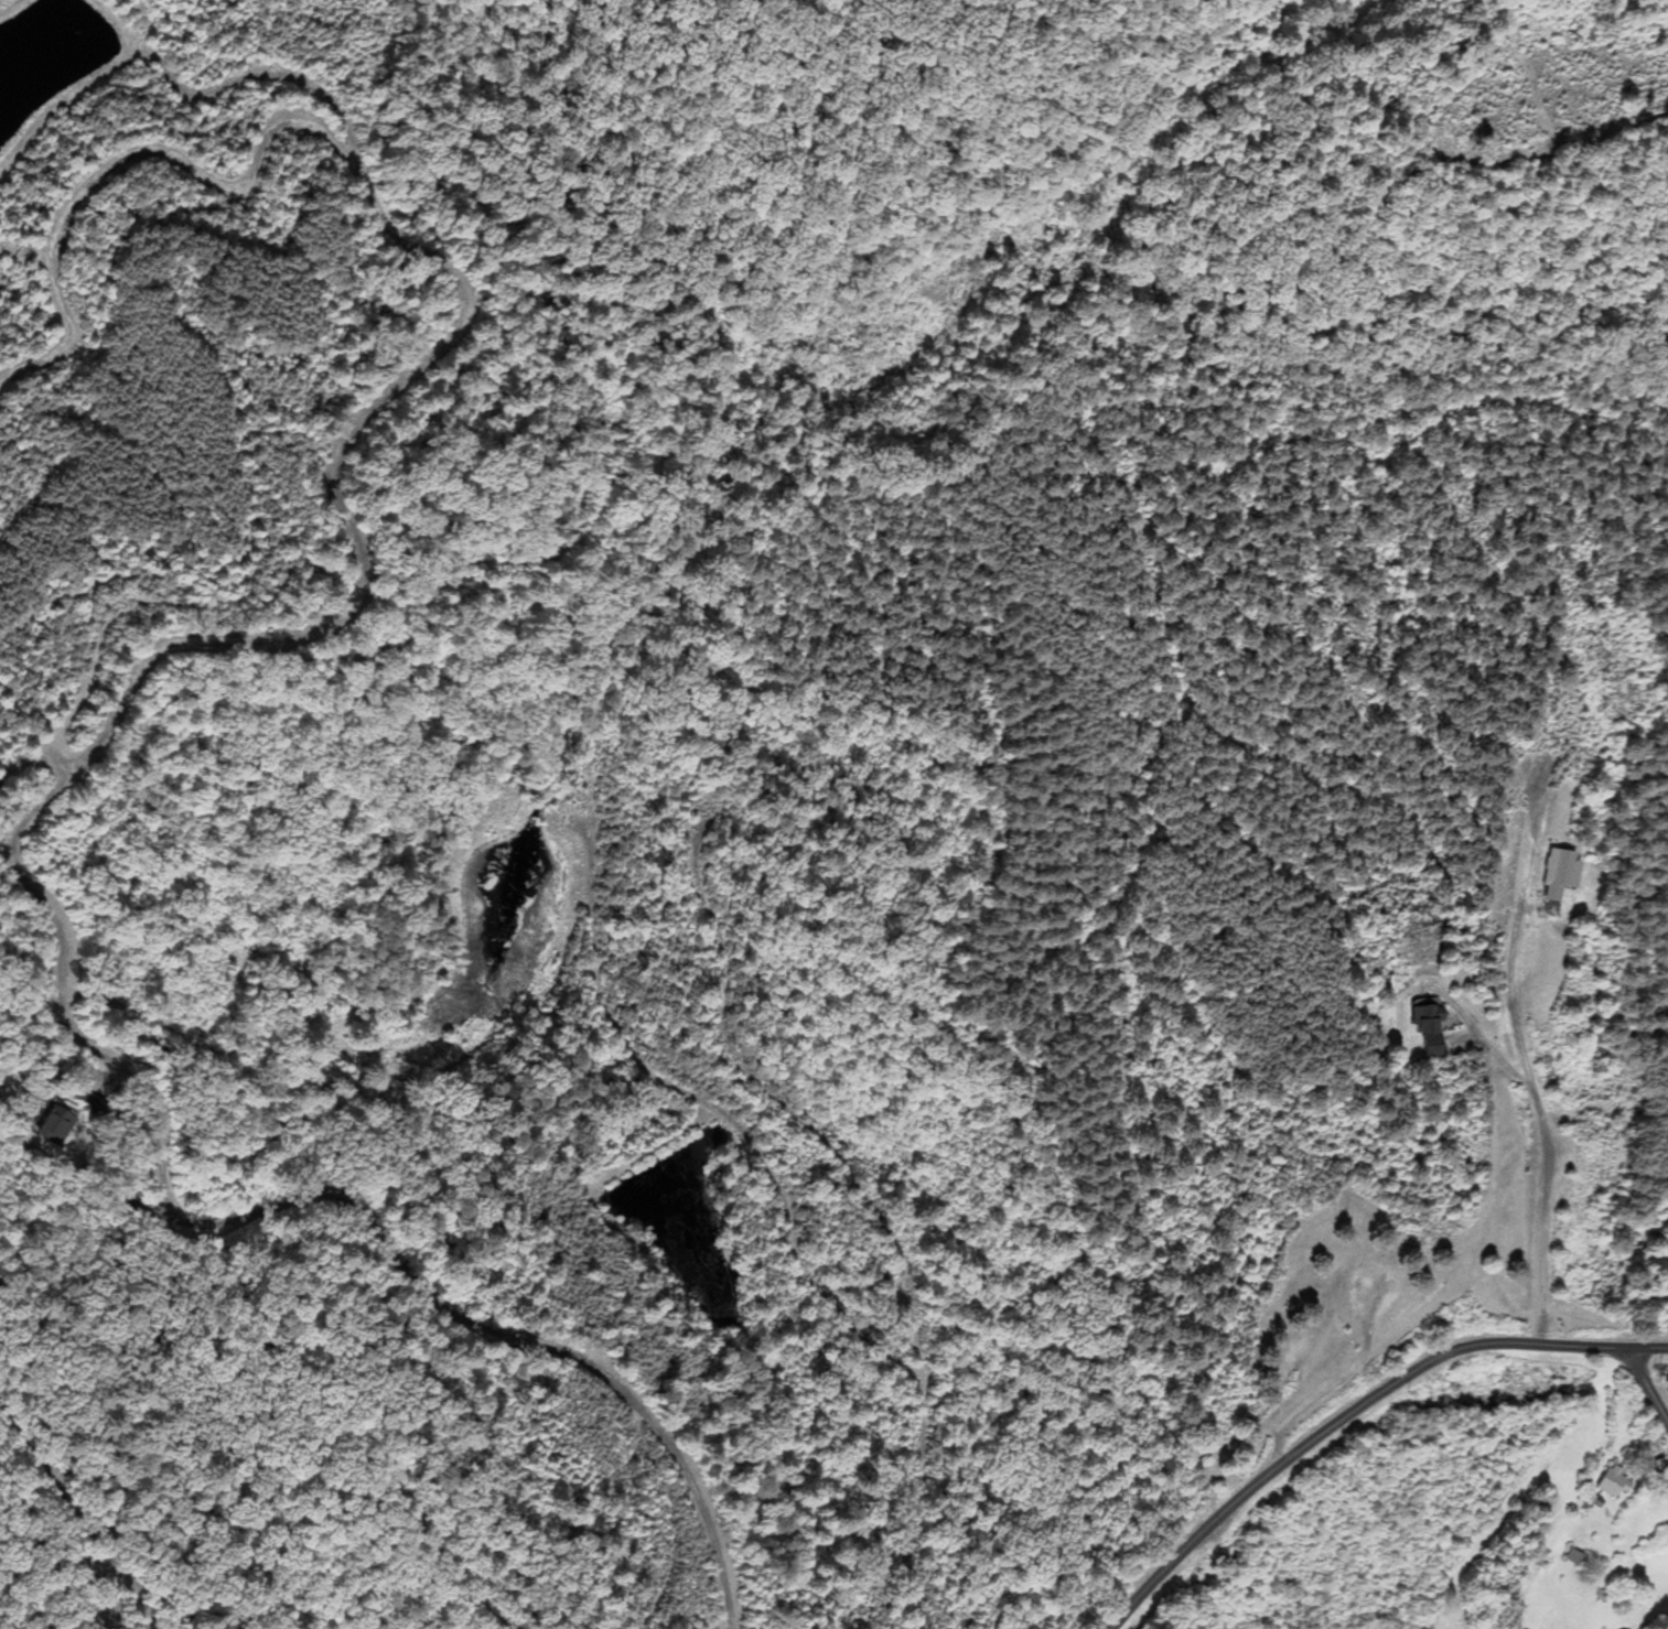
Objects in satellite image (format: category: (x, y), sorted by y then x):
building: (1562, 872)
building: (1432, 1029)
building: (57, 1125)
road: (886, 1216)
road: (1648, 1385)
road: (1354, 1410)
road: (654, 1442)
building: (1662, 1465)
building: (1616, 1481)
road: (85, 1506)
building: (1578, 1557)

